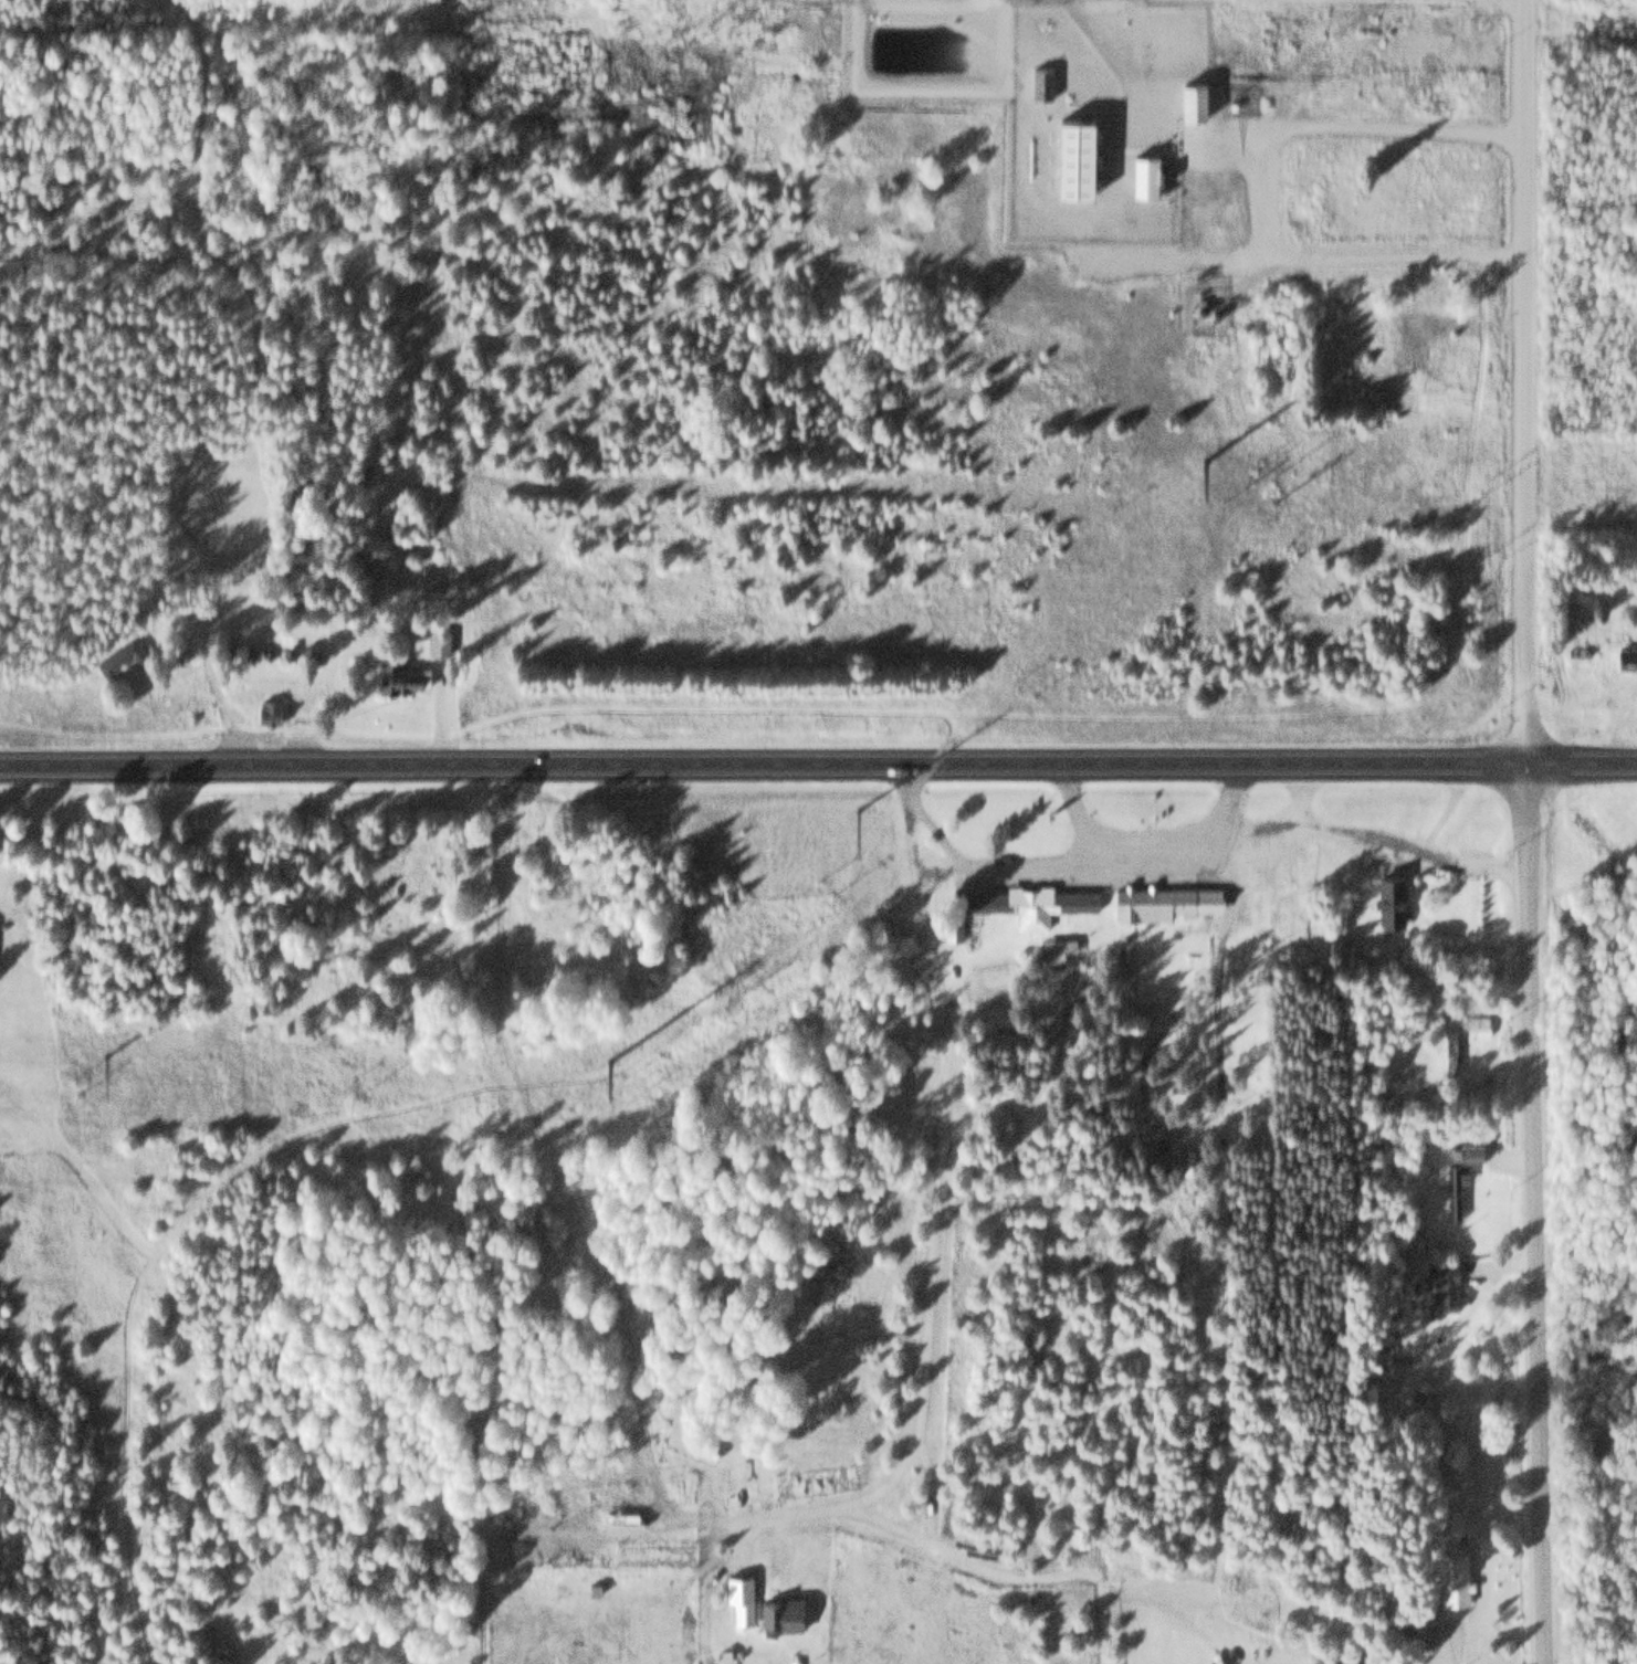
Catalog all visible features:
road: (1312, 15)
building: (1039, 81)
building: (1188, 98)
building: (1071, 154)
building: (1142, 172)
building: (1199, 297)
power substation: (1201, 297)
road: (1528, 379)
power tower: (1200, 451)
building: (436, 643)
building: (177, 650)
building: (1625, 655)
building: (117, 656)
building: (397, 673)
building: (265, 712)
road: (818, 765)
power tower: (856, 808)
road: (20, 822)
building: (1387, 897)
building: (1161, 901)
building: (1028, 902)
building: (951, 927)
building: (1057, 948)
building: (1476, 1023)
building: (1450, 1051)
power tower: (105, 1052)
power tower: (608, 1060)
building: (901, 1061)
building: (889, 1080)
building: (1244, 1135)
building: (1163, 1145)
building: (1469, 1151)
building: (1452, 1188)
road: (438, 1200)
road: (1533, 1212)
building: (1441, 1283)
road: (618, 1392)
building: (620, 1519)
building: (1452, 1577)
building: (736, 1580)
building: (741, 1610)
building: (774, 1613)
building: (1402, 1621)

